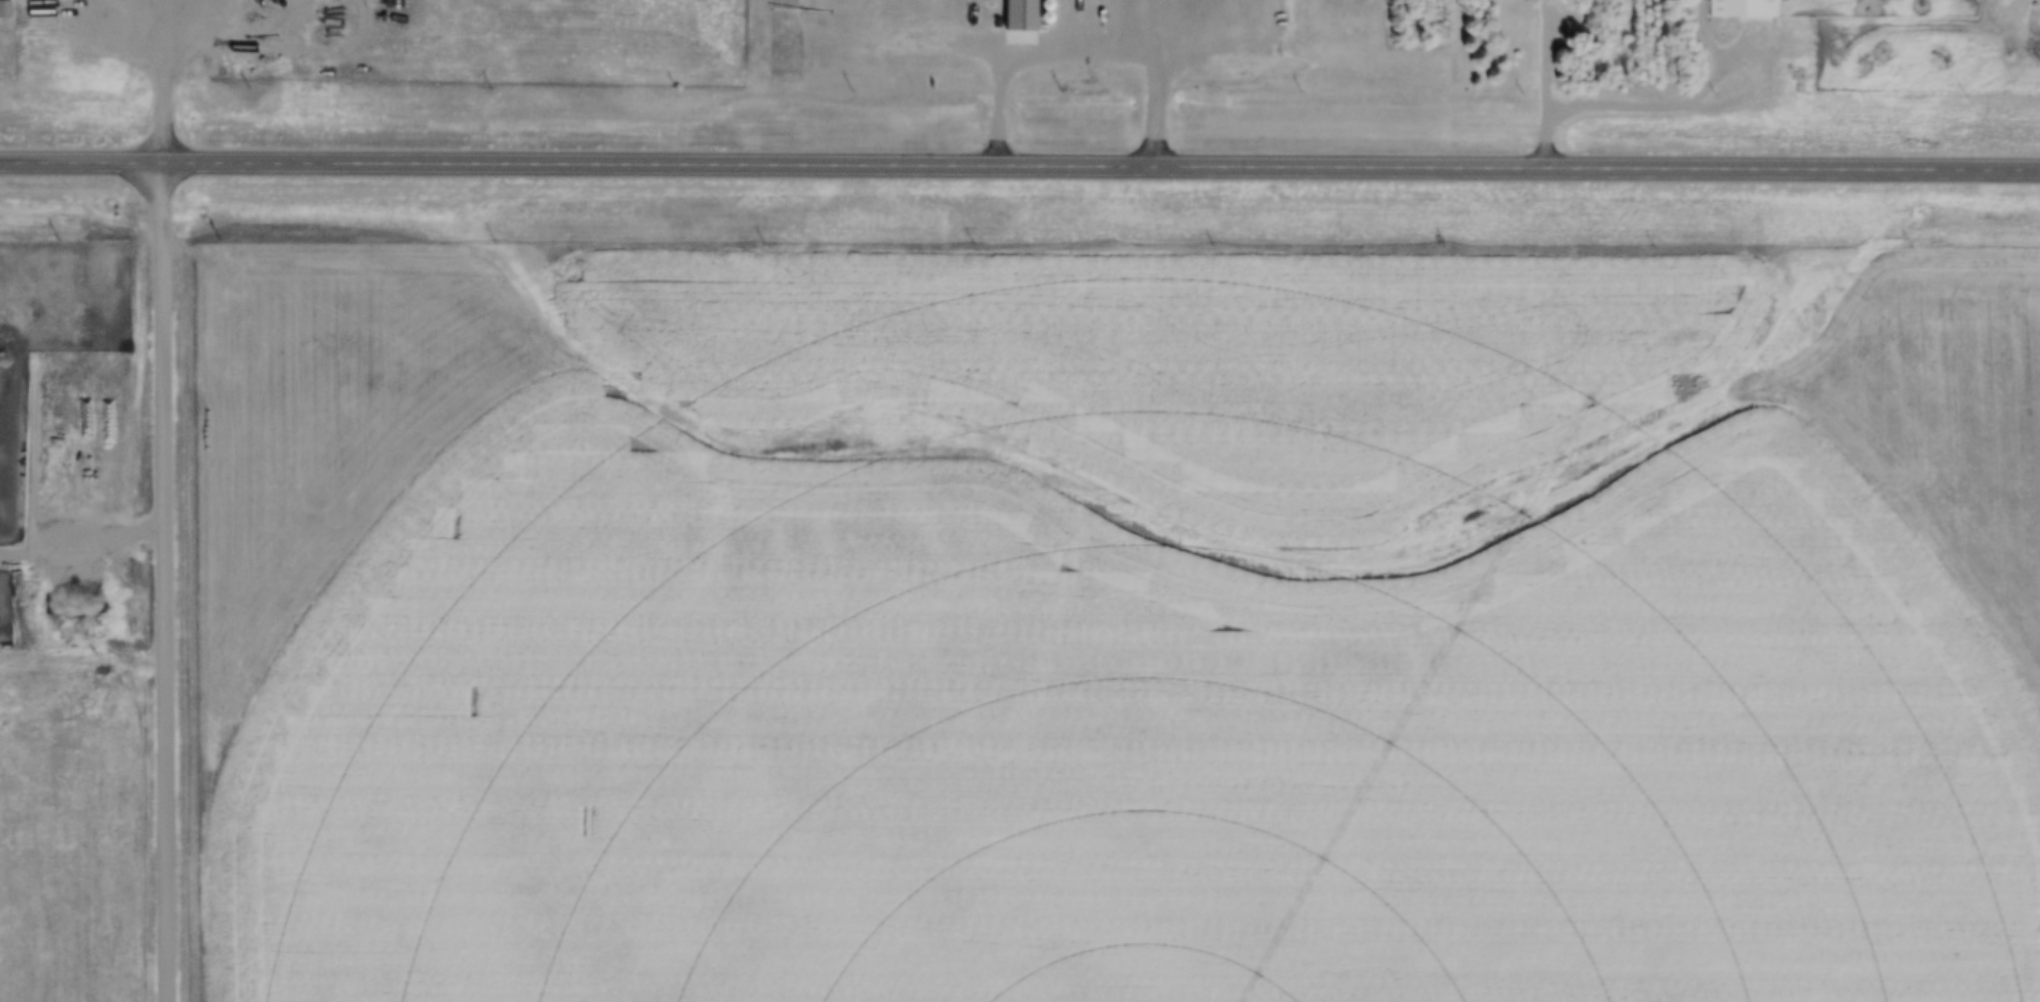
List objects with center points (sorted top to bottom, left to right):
building: (29, 8)
building: (1741, 9)
building: (4, 10)
building: (984, 16)
road: (142, 34)
road: (1017, 35)
road: (170, 83)
road: (1158, 83)
road: (1551, 85)
road: (1019, 170)
building: (56, 384)
road: (172, 585)

